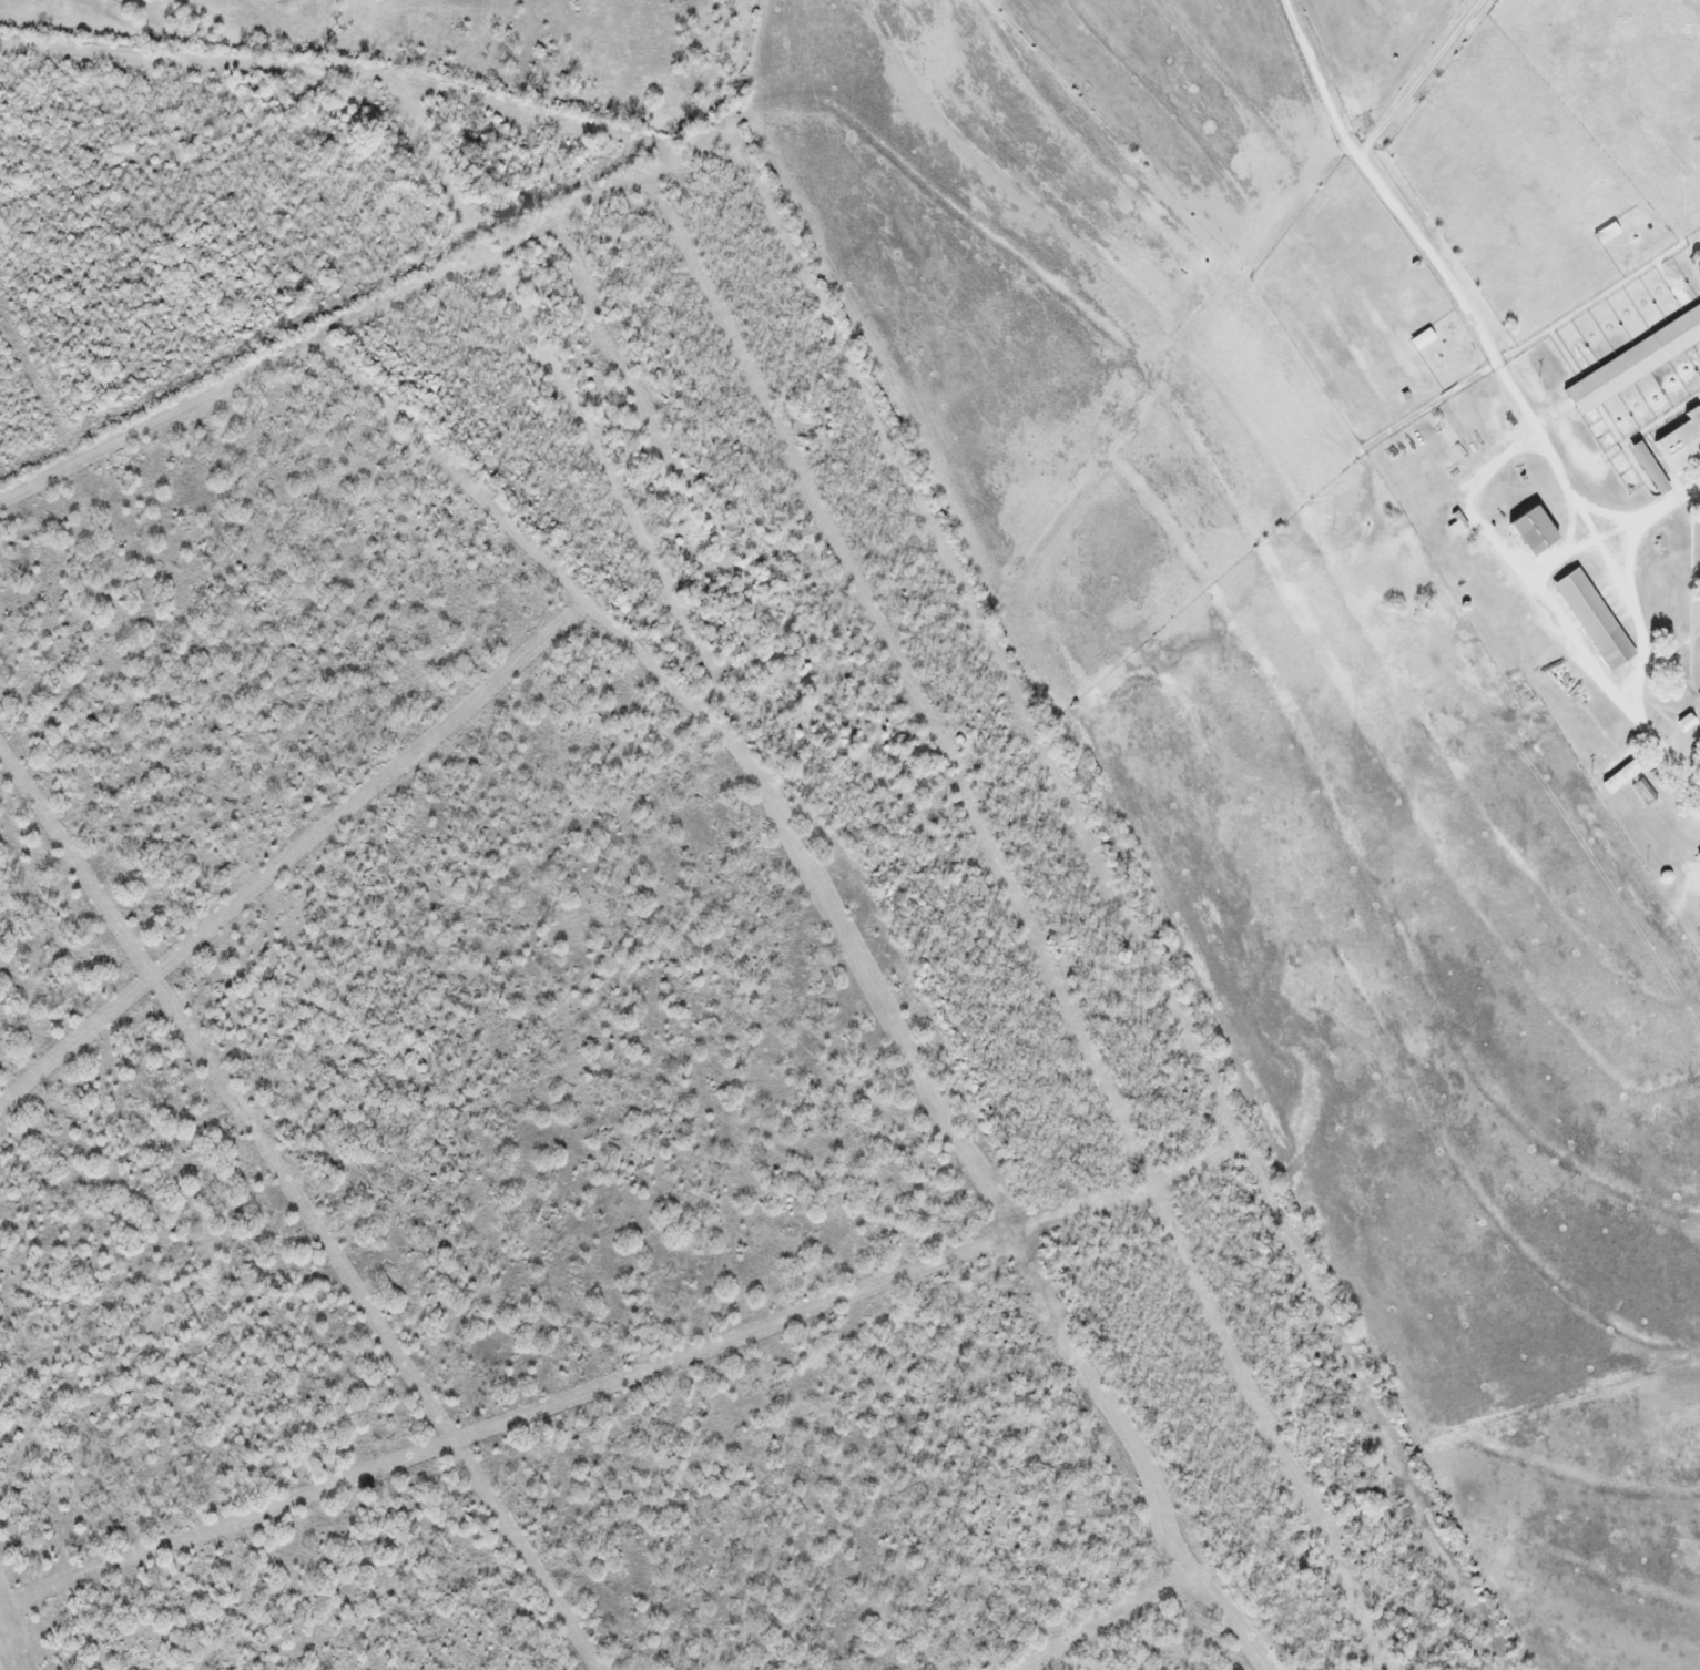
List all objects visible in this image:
road: (1416, 79)
road: (1376, 190)
building: (1636, 360)
building: (1682, 441)
building: (1457, 526)
building: (1536, 530)
road: (1618, 574)
building: (1595, 619)
building: (1699, 695)
building: (1687, 722)
building: (1622, 775)
building: (1645, 791)

